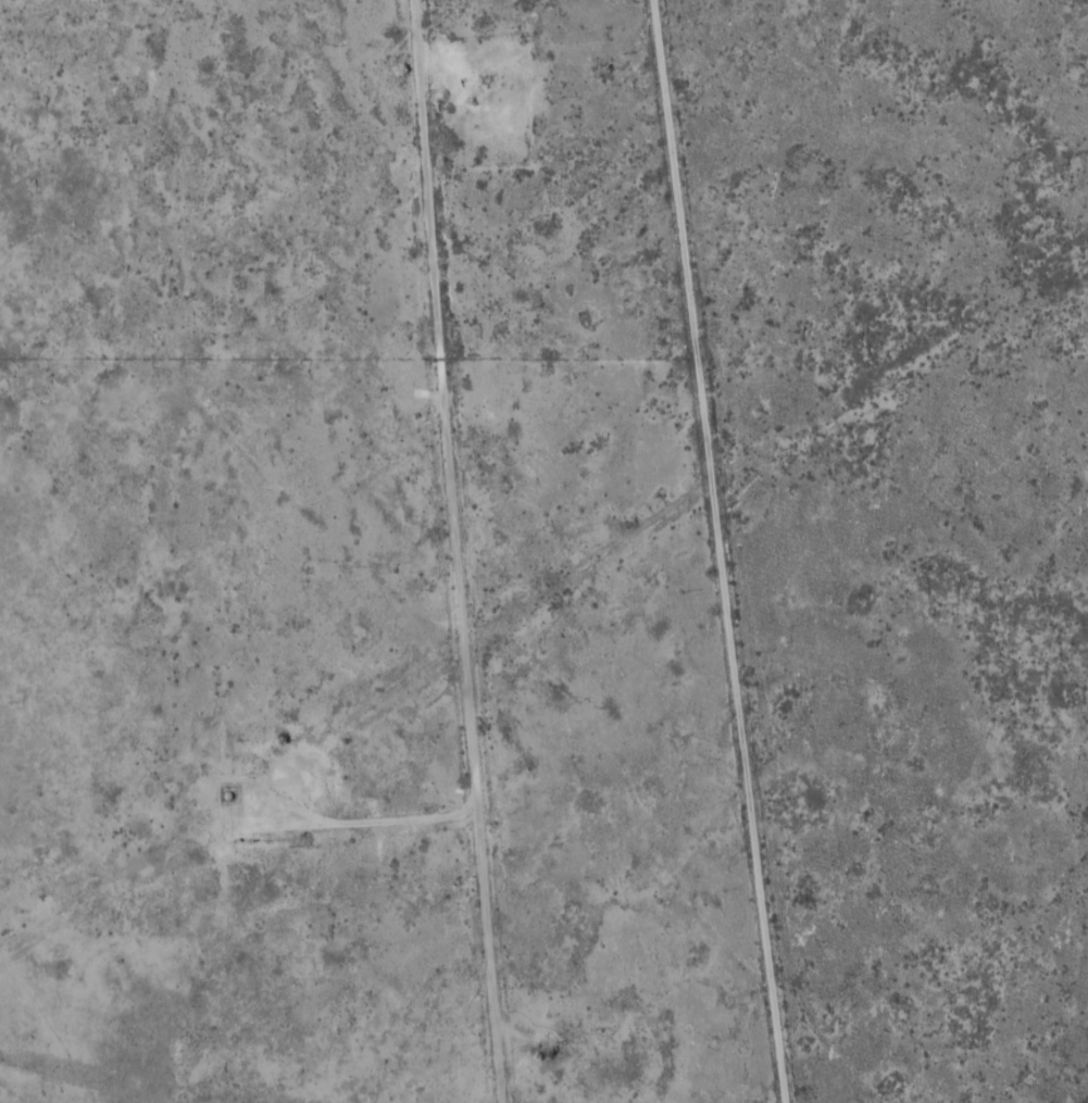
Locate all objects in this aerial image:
road: (458, 551)
road: (234, 880)
road: (103, 1090)

